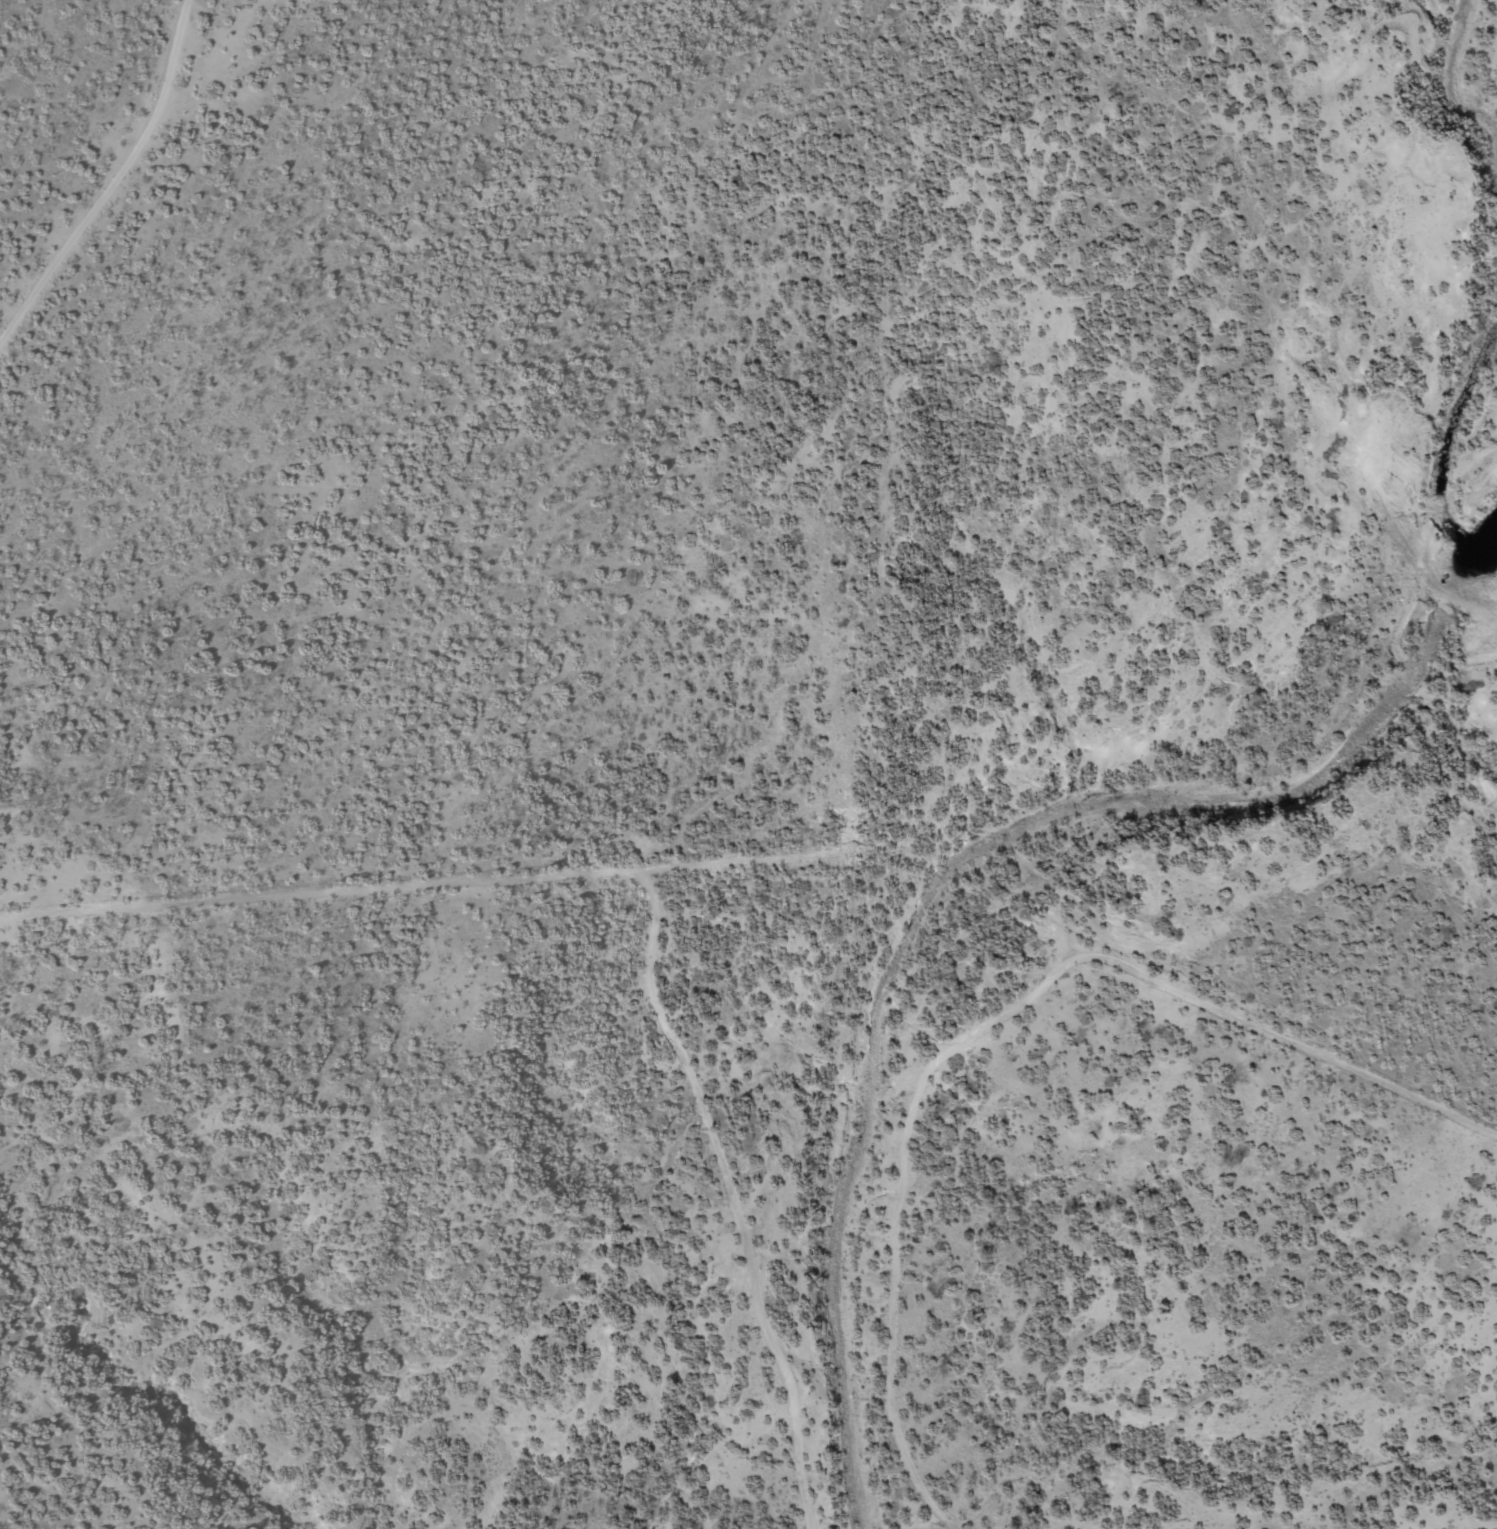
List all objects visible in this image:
road: (93, 154)

